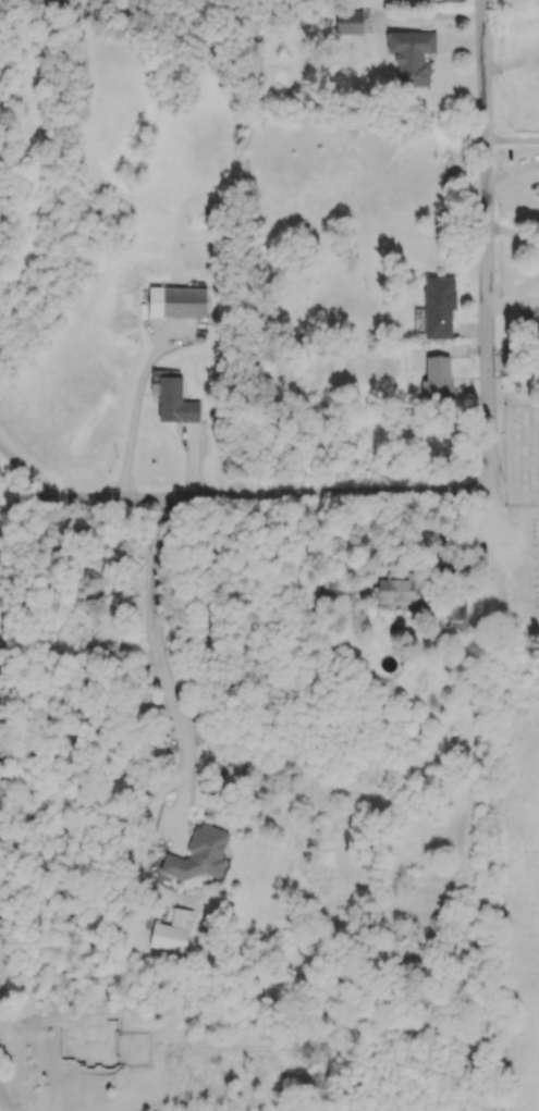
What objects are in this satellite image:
building: (347, 21)
building: (412, 57)
road: (511, 137)
road: (513, 238)
road: (485, 275)
road: (514, 297)
building: (176, 301)
building: (438, 306)
building: (417, 320)
building: (437, 378)
building: (174, 402)
road: (134, 420)
road: (24, 474)
road: (24, 499)
road: (269, 502)
road: (515, 504)
building: (396, 588)
building: (455, 610)
road: (161, 667)
building: (201, 855)
building: (174, 929)

